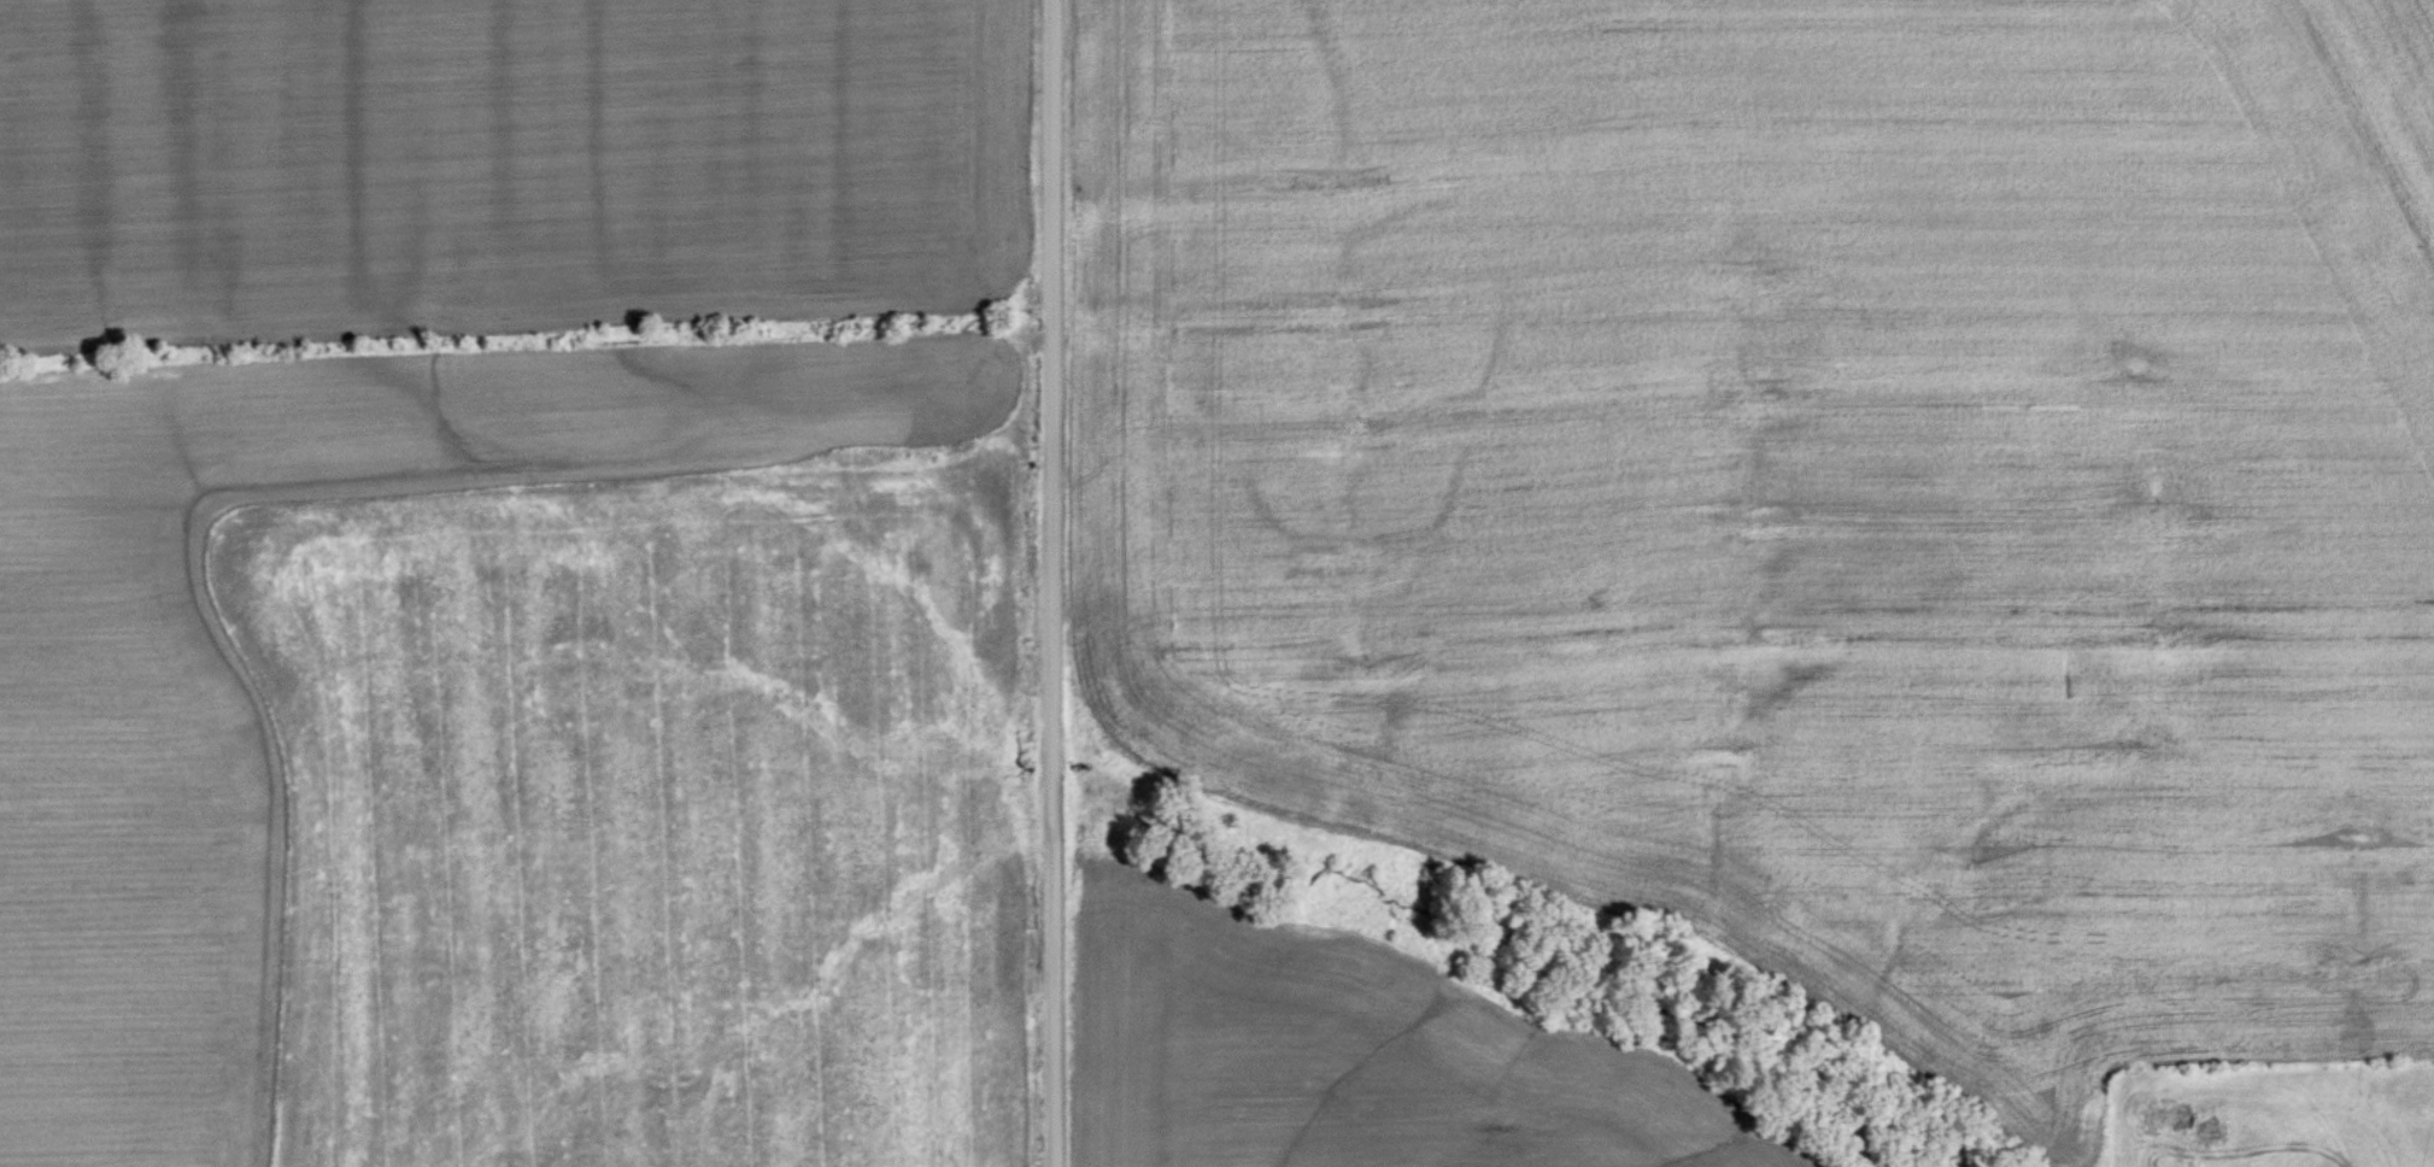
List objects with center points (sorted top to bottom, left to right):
road: (1050, 582)

